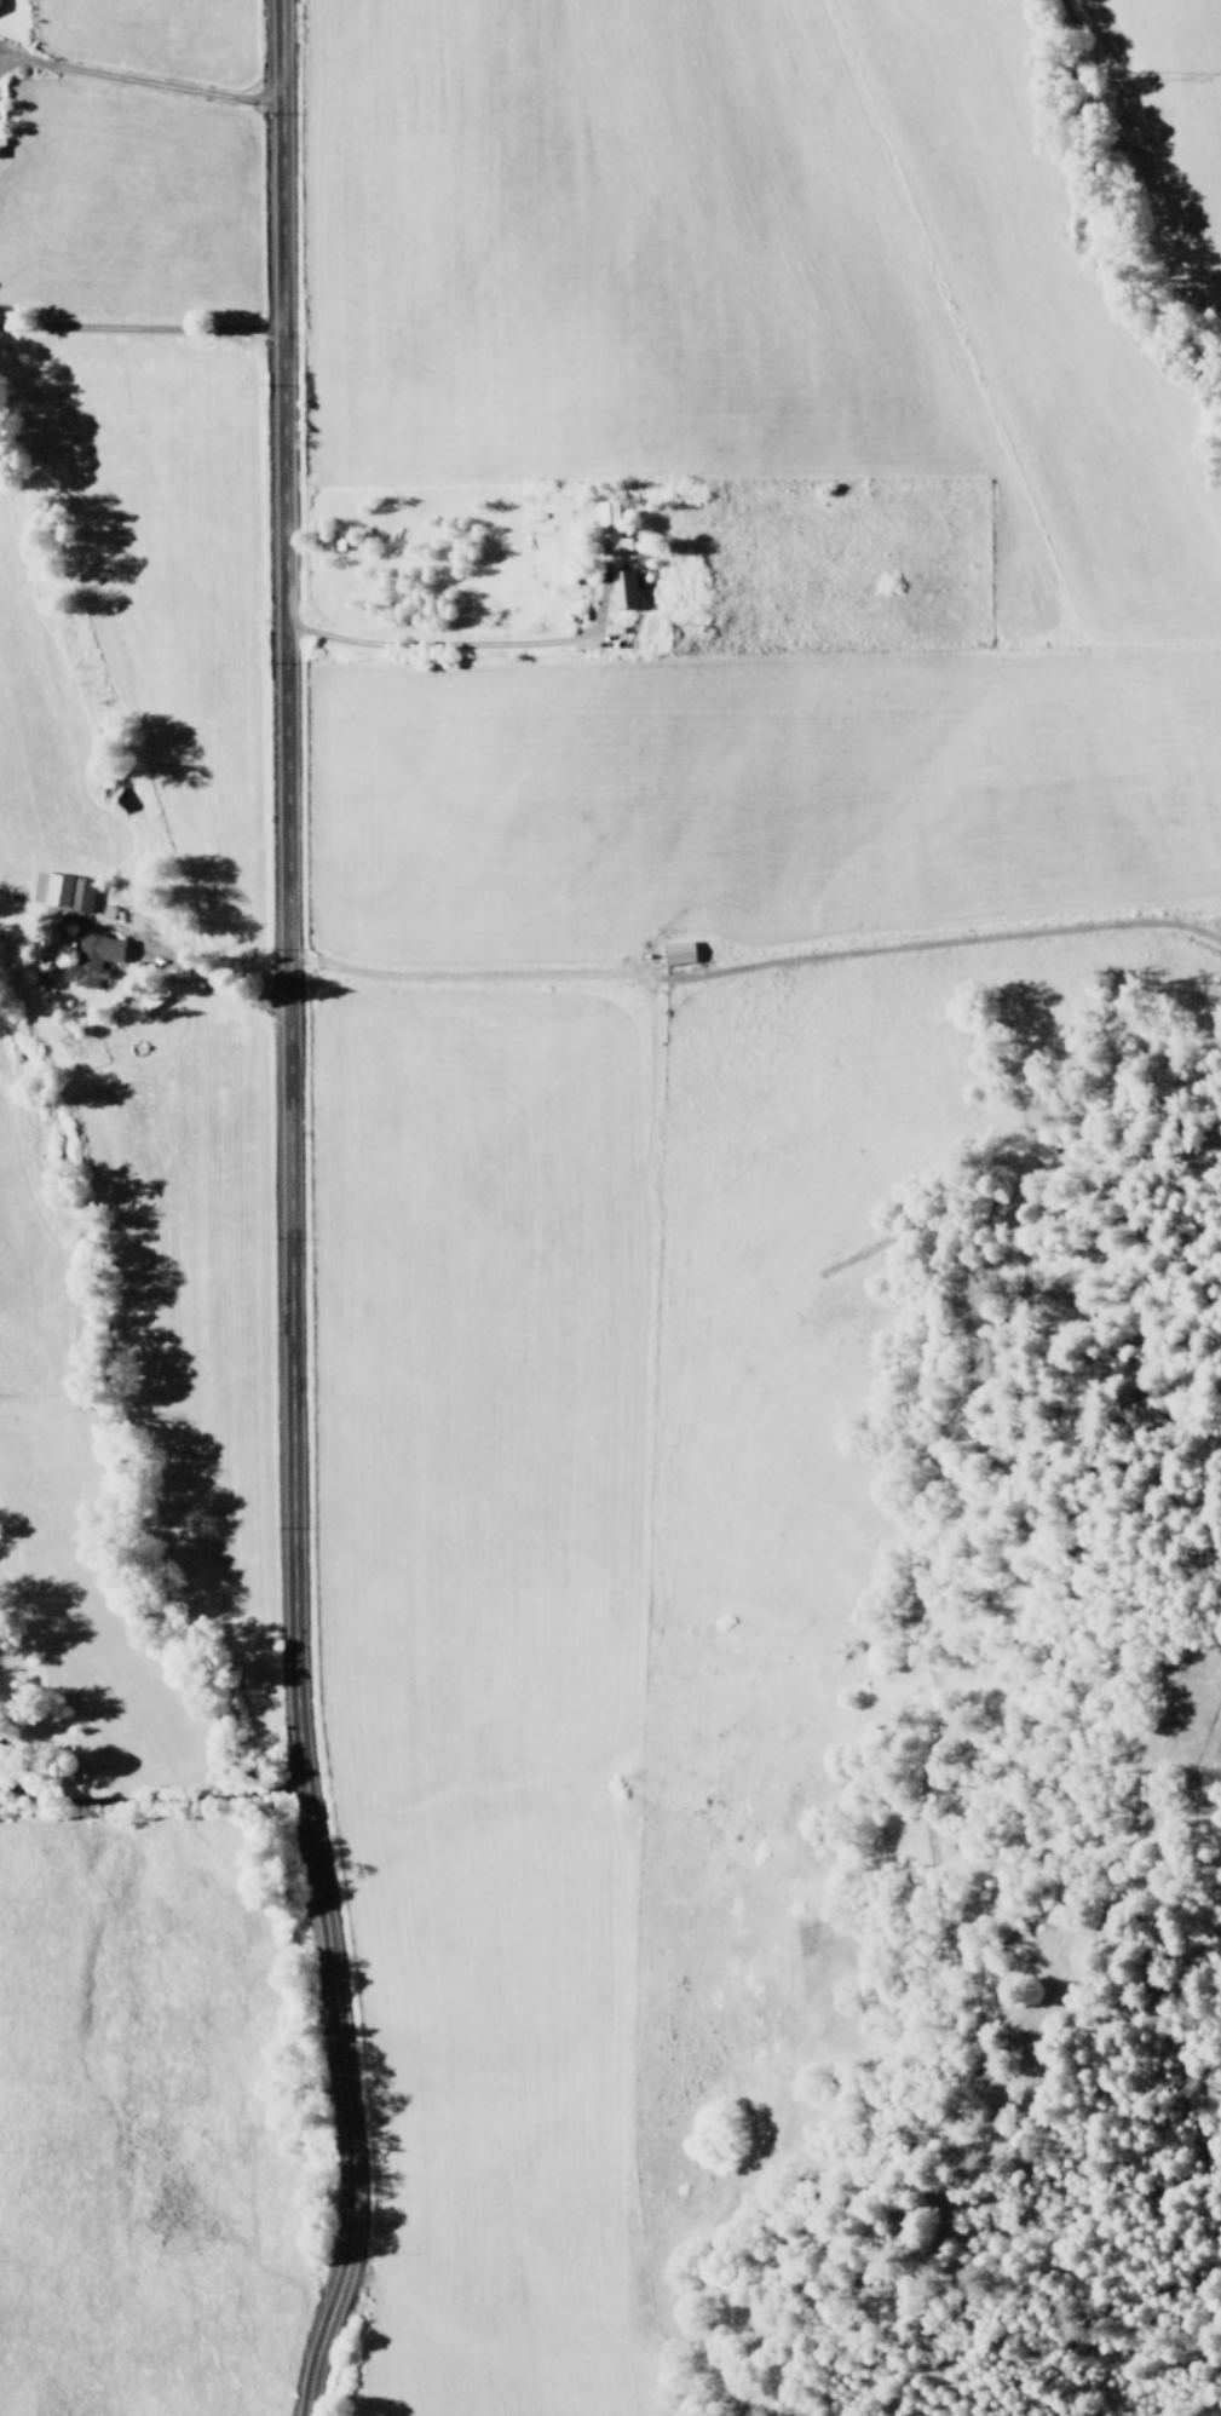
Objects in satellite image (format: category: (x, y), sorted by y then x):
building: (0, 0)
power tower: (1129, 79)
building: (610, 529)
building: (622, 589)
building: (62, 891)
building: (676, 953)
building: (90, 957)
road: (282, 1212)

